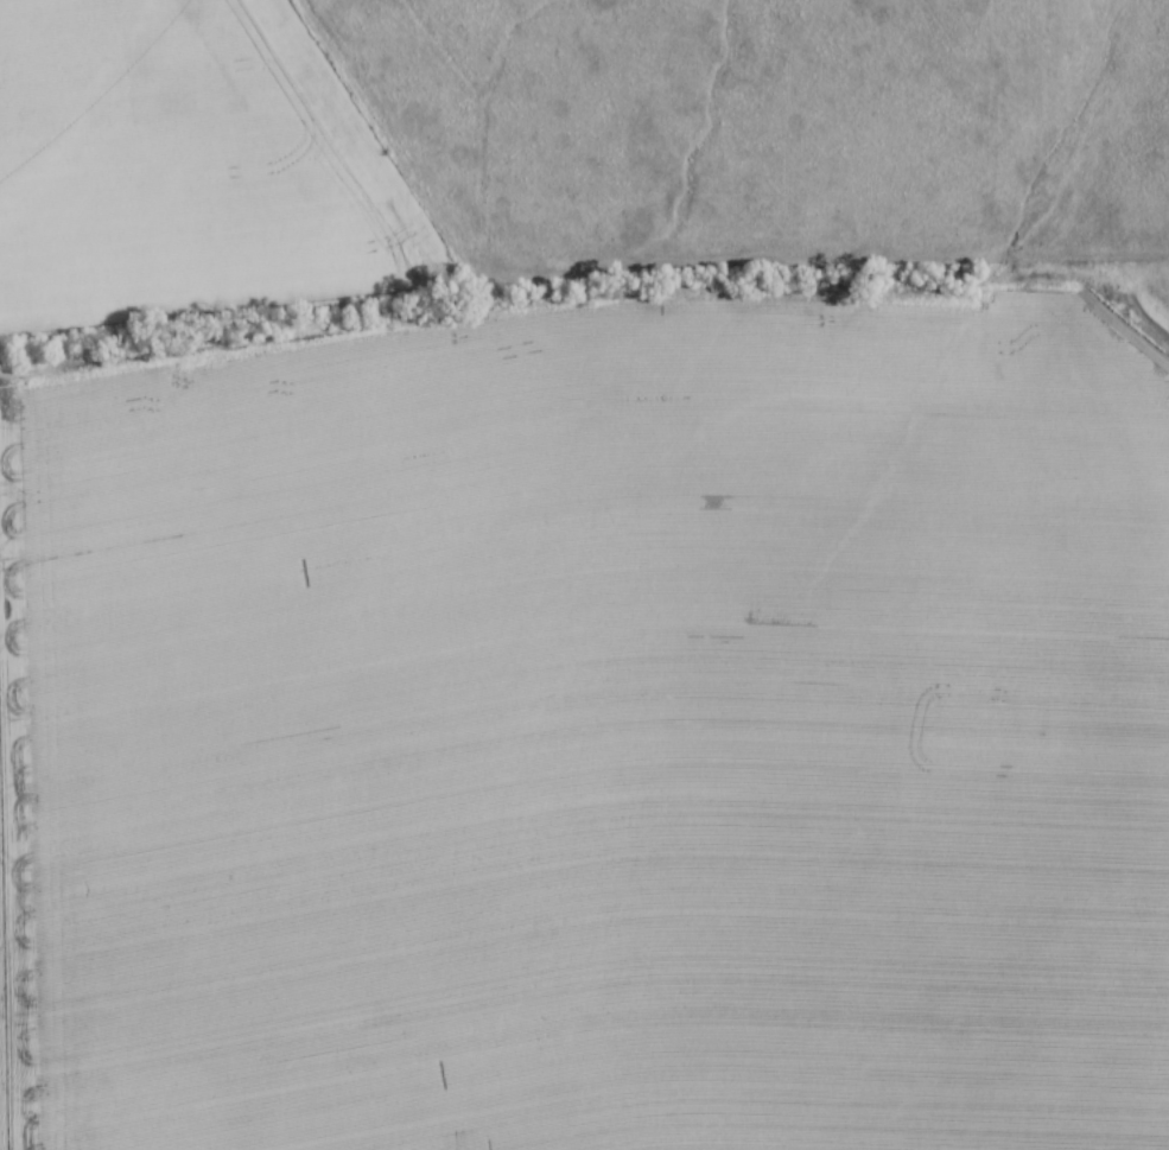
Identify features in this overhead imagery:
crop: (186, 163)
crop: (592, 732)

